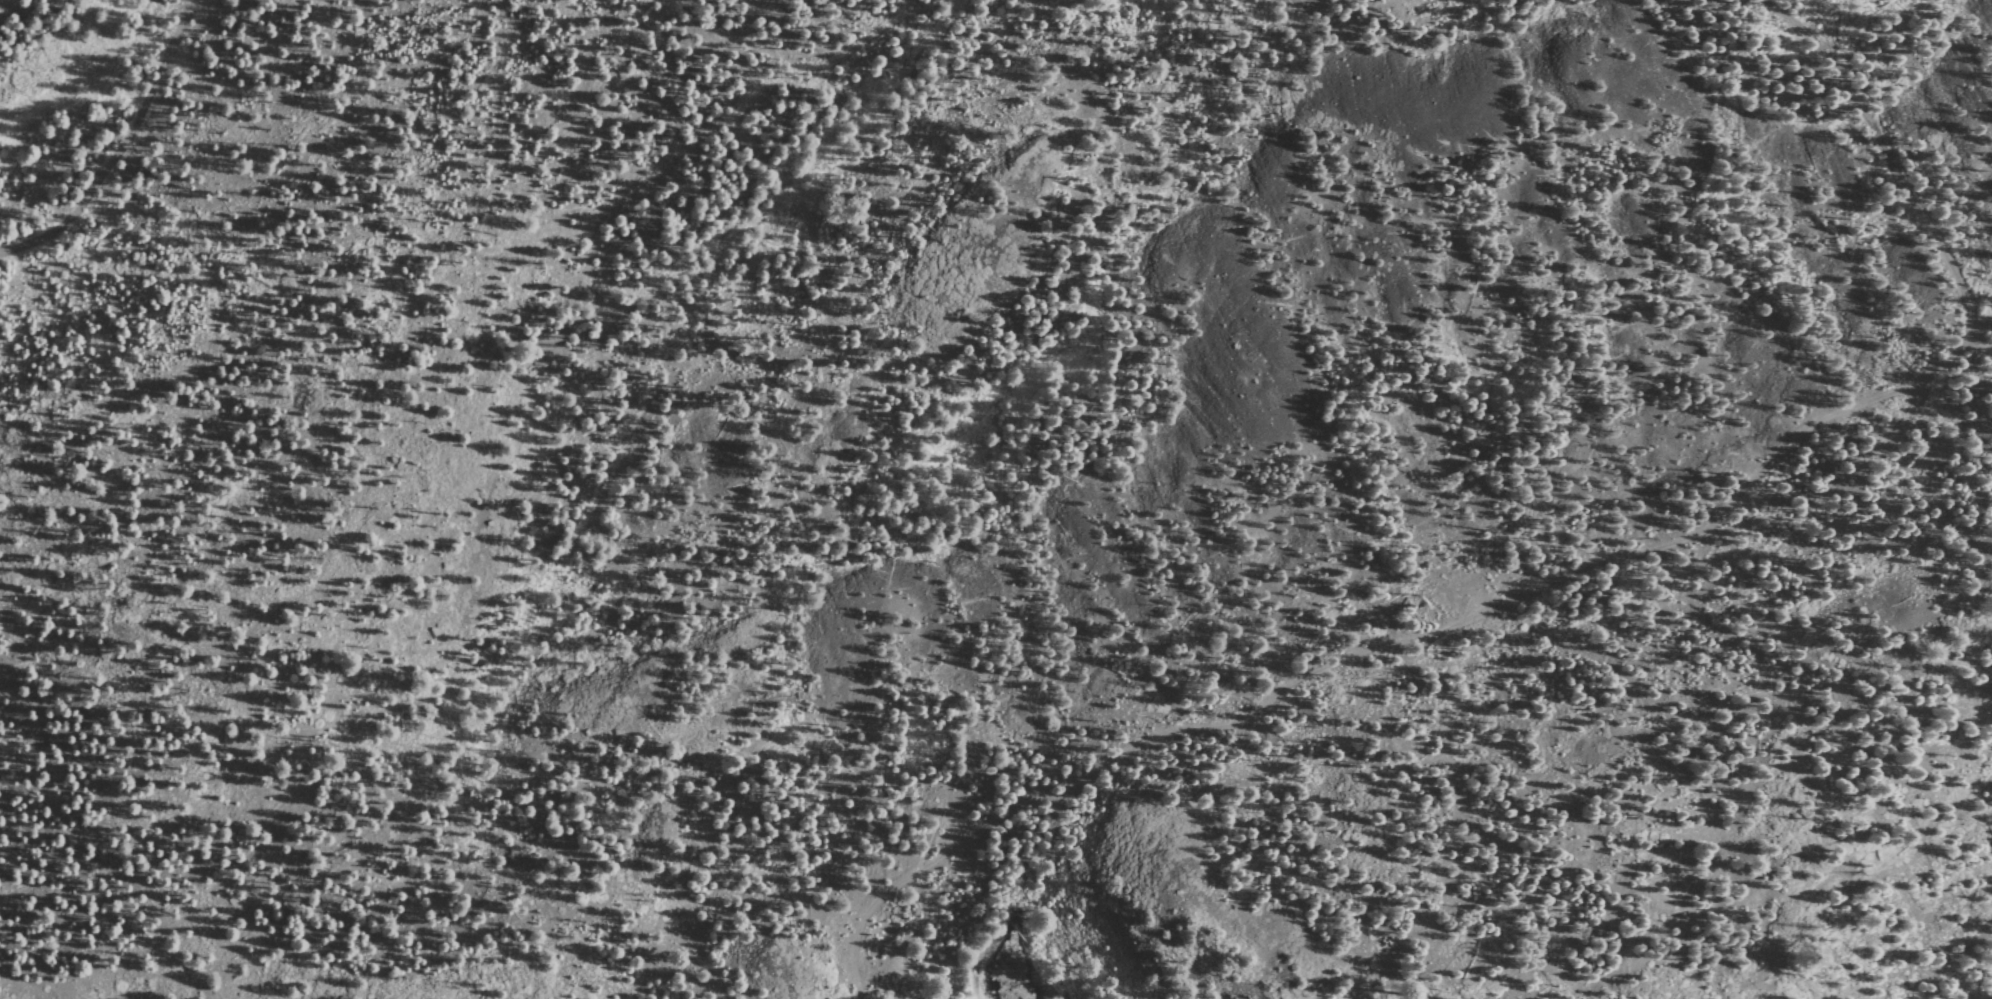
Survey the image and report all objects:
road: (72, 99)

